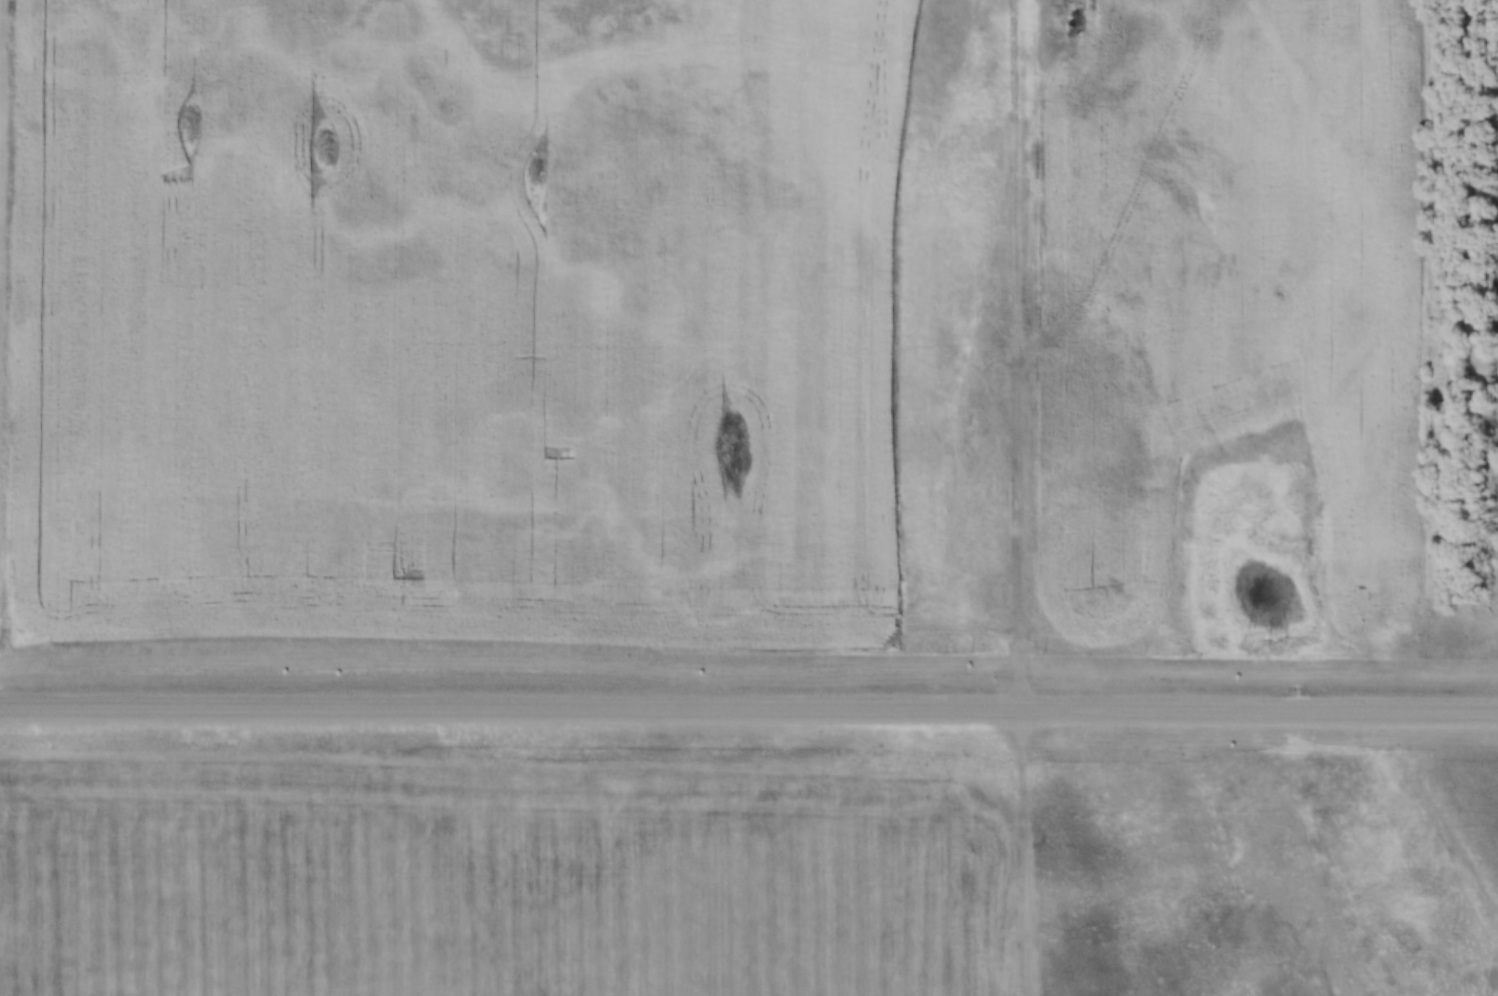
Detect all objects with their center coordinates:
road: (1018, 498)
road: (749, 709)

